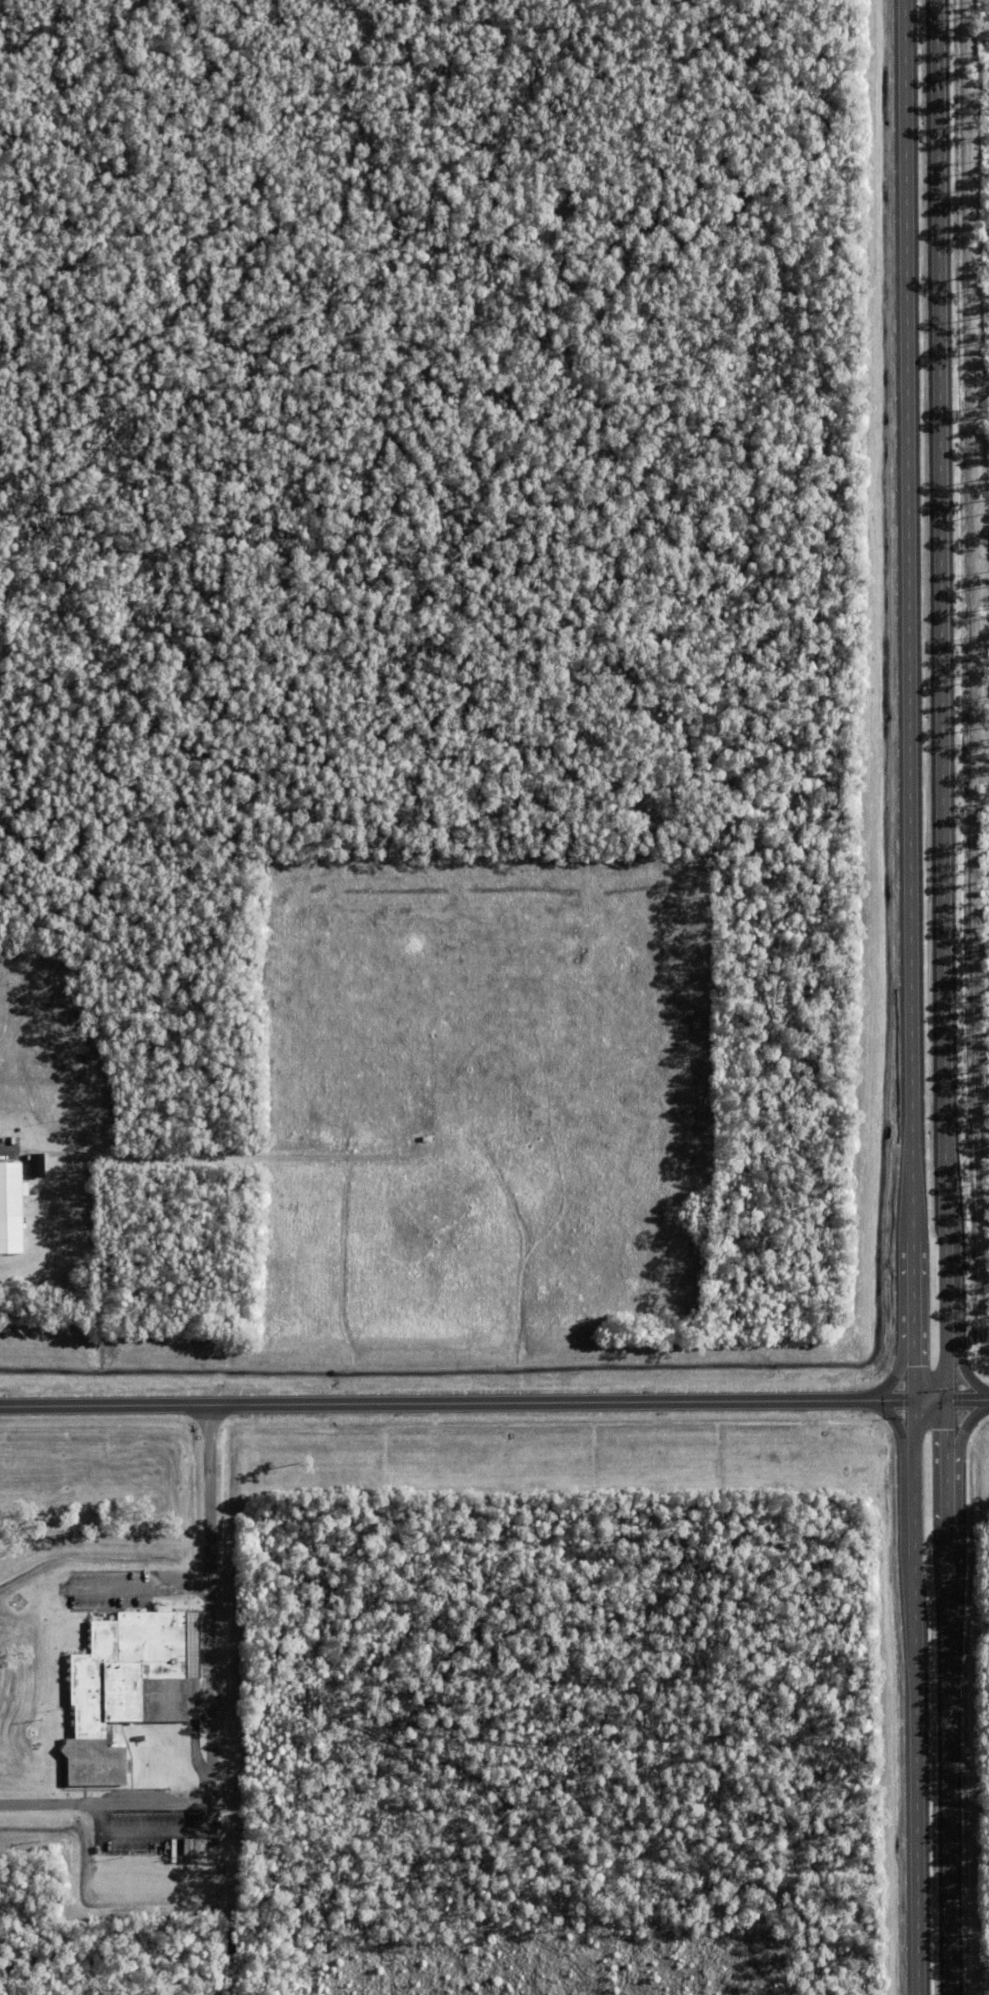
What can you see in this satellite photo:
road: (908, 997)
road: (940, 997)
building: (34, 1164)
building: (11, 1211)
traffic signals: (911, 1399)
traffic signals: (943, 1399)
road: (494, 1401)
building: (119, 1685)
road: (209, 1704)
building: (203, 1850)

